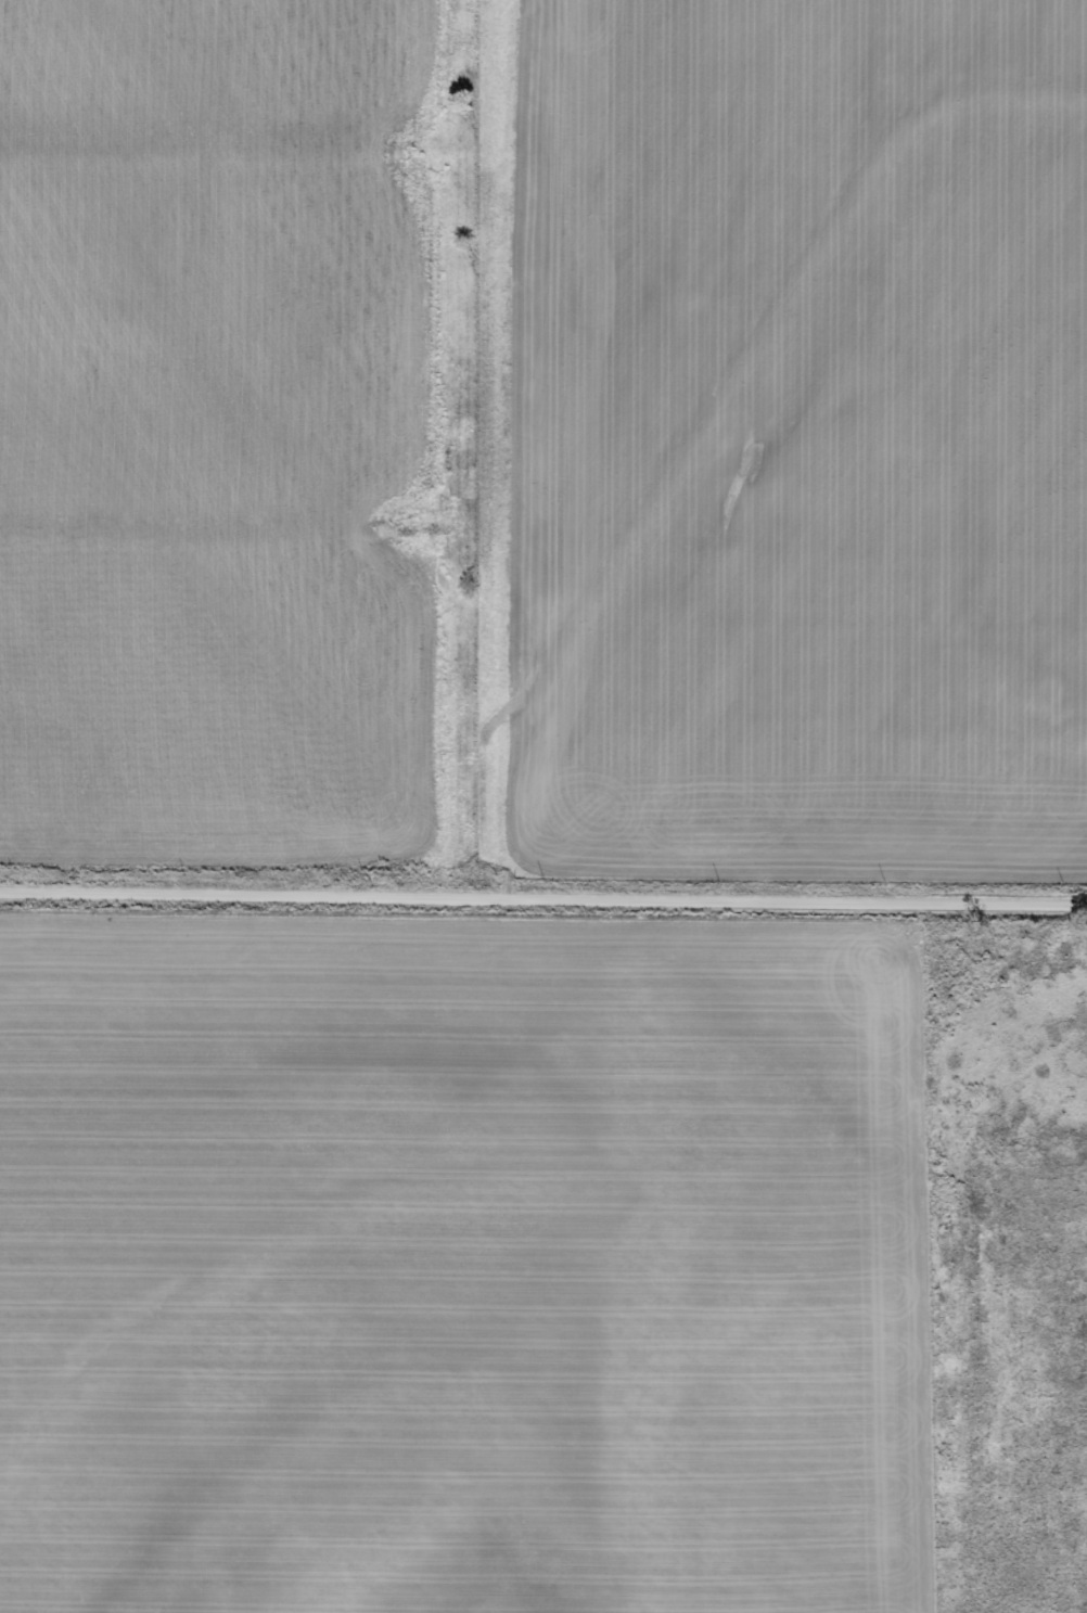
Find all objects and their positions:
road: (542, 897)

